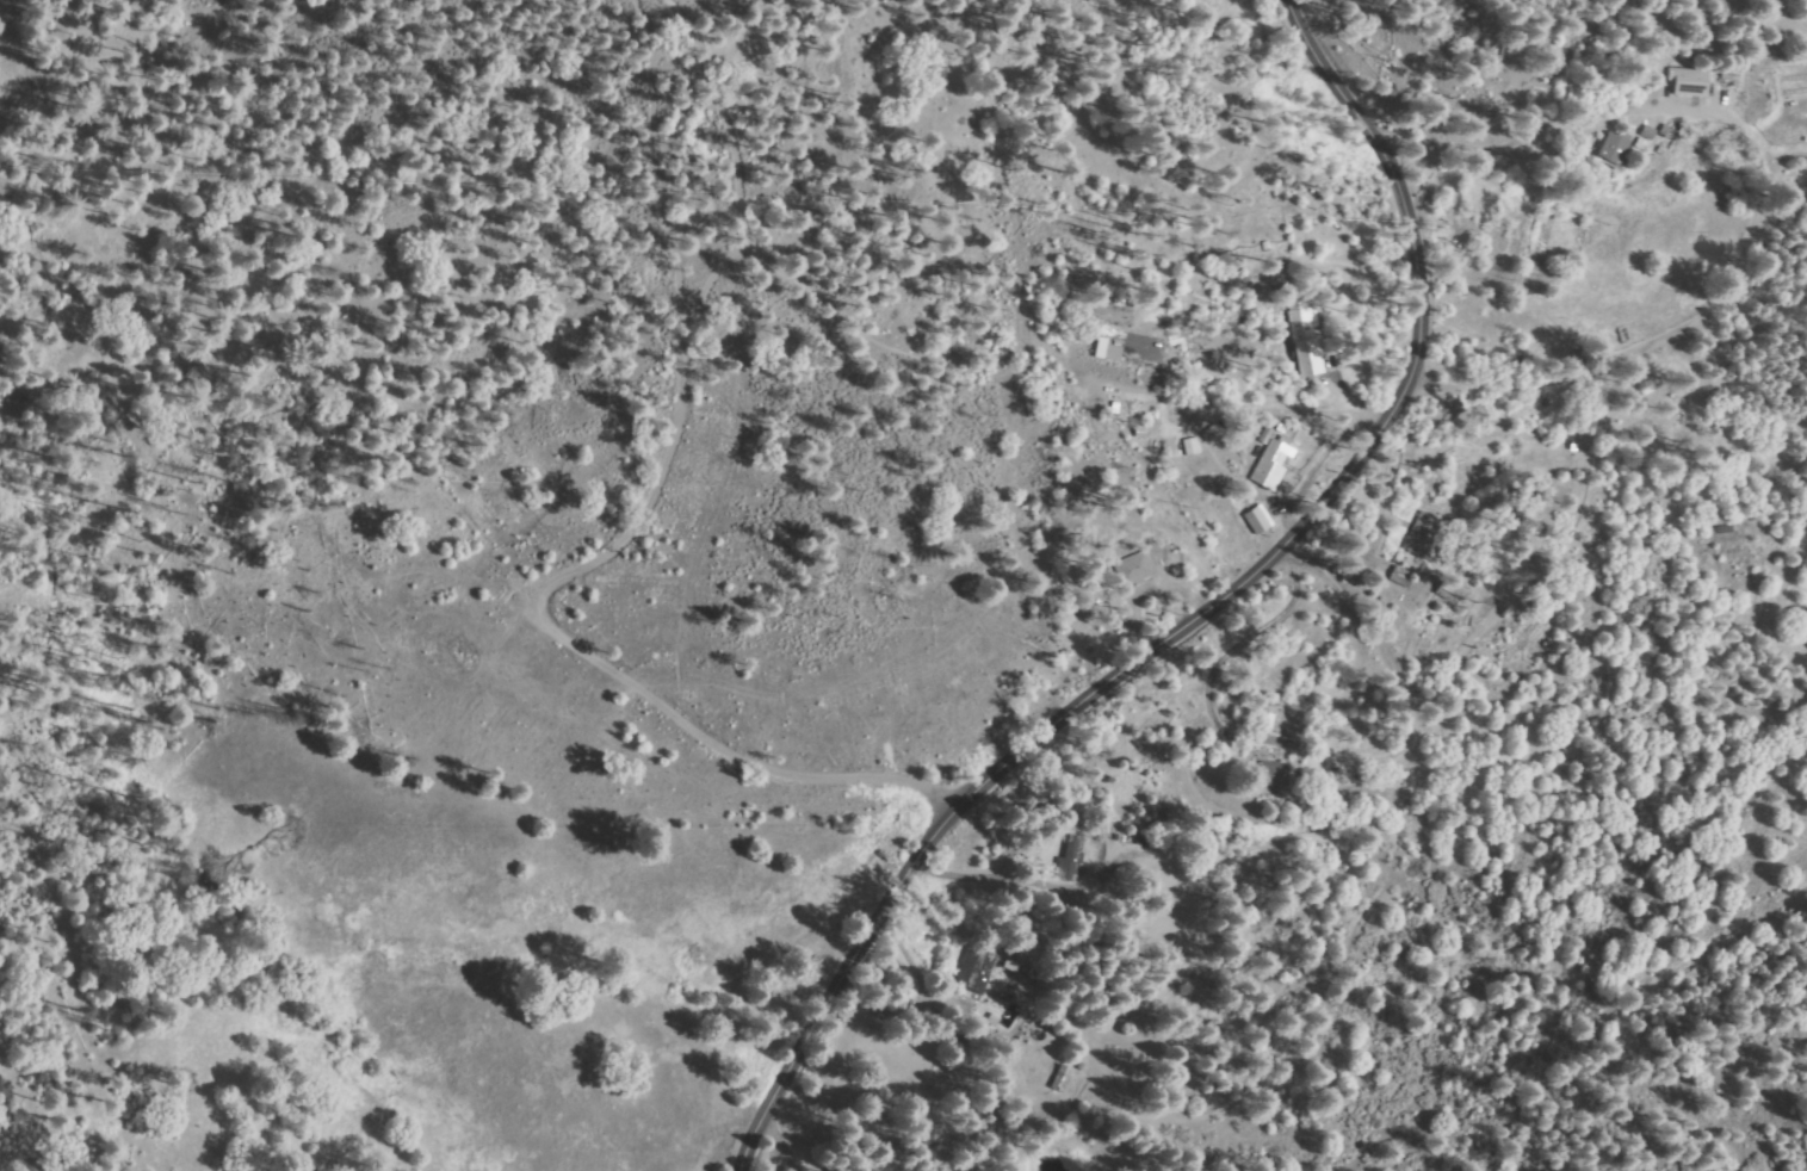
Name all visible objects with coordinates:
building: (1106, 1)
building: (1096, 2)
building: (1731, 73)
building: (1687, 85)
building: (1654, 94)
road: (1524, 123)
building: (1665, 130)
building: (1648, 132)
building: (1641, 143)
building: (1615, 149)
building: (6, 191)
building: (1162, 333)
building: (1622, 334)
building: (1305, 339)
building: (1099, 347)
building: (1139, 432)
building: (1264, 434)
building: (1172, 446)
building: (1270, 464)
road: (654, 487)
building: (1257, 520)
building: (1421, 535)
building: (1133, 568)
building: (1103, 570)
building: (1401, 577)
road: (1200, 608)
building: (1265, 720)
building: (1276, 774)
building: (1143, 837)
building: (1071, 857)
building: (1011, 964)
building: (976, 968)
building: (1082, 1066)
building: (1063, 1077)

